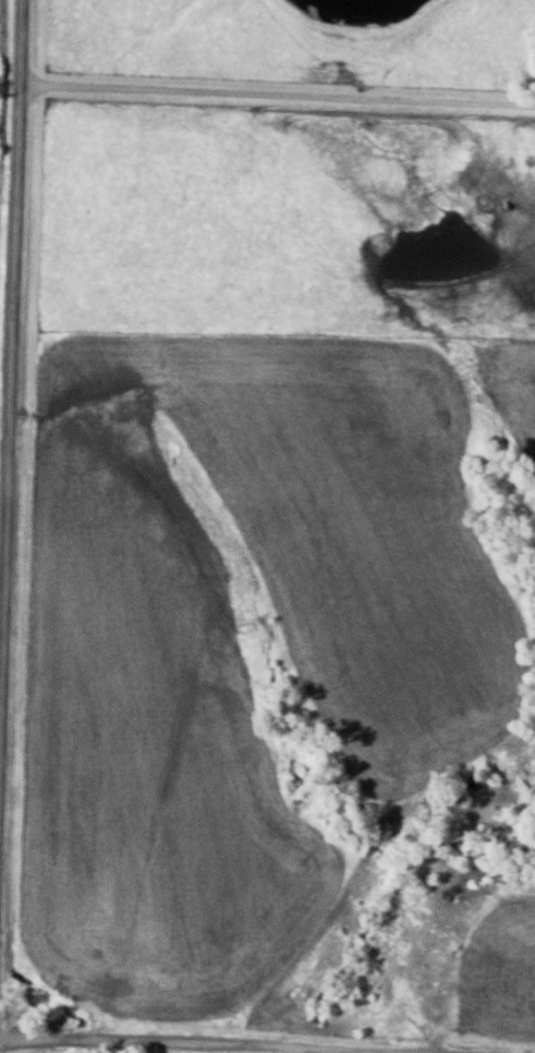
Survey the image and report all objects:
road: (276, 95)
road: (10, 526)

